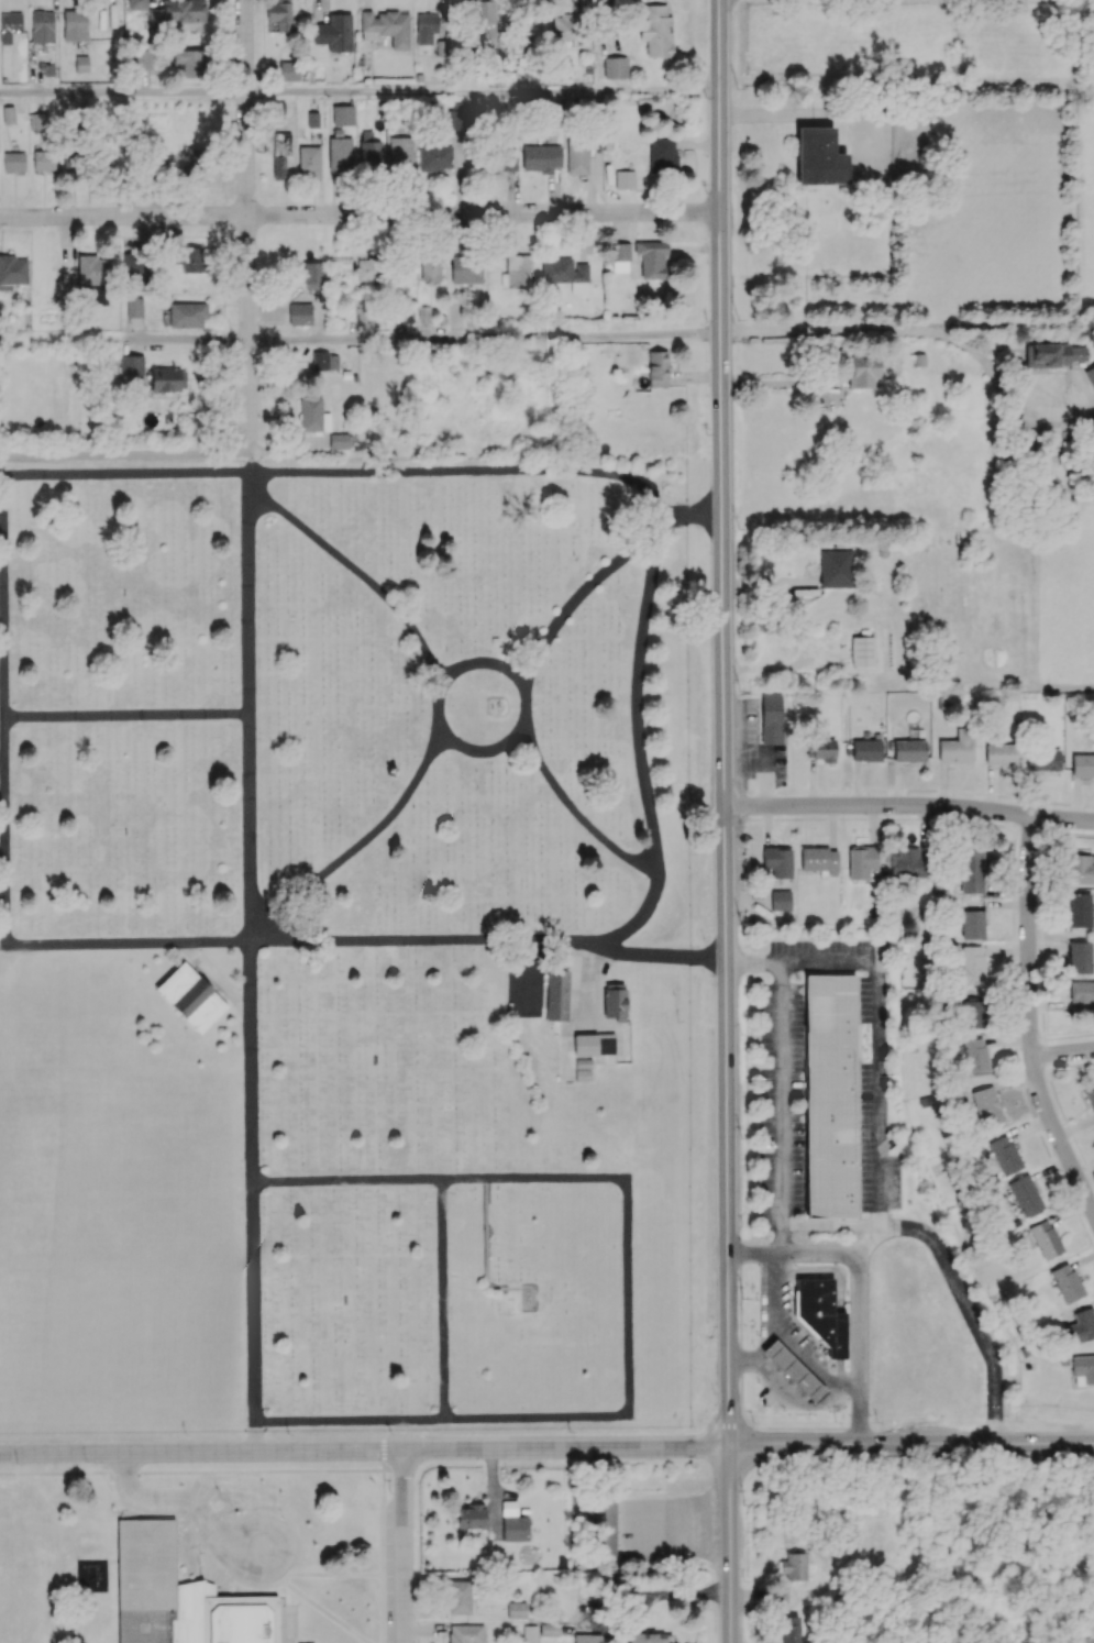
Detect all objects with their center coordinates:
building: (136, 4)
building: (177, 12)
building: (280, 14)
building: (485, 18)
building: (9, 25)
building: (75, 25)
building: (42, 26)
building: (386, 26)
building: (427, 26)
building: (566, 26)
building: (655, 30)
building: (334, 32)
building: (142, 60)
building: (188, 63)
building: (81, 64)
building: (615, 67)
building: (47, 69)
building: (288, 70)
building: (469, 80)
road: (358, 91)
building: (342, 114)
road: (826, 115)
building: (457, 117)
building: (37, 121)
building: (368, 152)
building: (583, 155)
building: (400, 156)
building: (434, 156)
building: (340, 157)
building: (818, 157)
building: (541, 158)
building: (499, 159)
building: (13, 161)
building: (44, 161)
building: (70, 162)
building: (309, 162)
building: (278, 163)
building: (194, 165)
building: (649, 166)
road: (360, 214)
road: (245, 227)
building: (619, 256)
building: (651, 258)
building: (188, 260)
building: (430, 267)
building: (366, 269)
building: (466, 269)
building: (134, 271)
building: (12, 272)
building: (517, 272)
building: (565, 273)
building: (312, 275)
building: (93, 277)
building: (133, 307)
building: (364, 312)
building: (299, 313)
building: (186, 315)
building: (452, 316)
road: (910, 334)
road: (484, 340)
road: (123, 341)
building: (1053, 354)
building: (324, 361)
building: (131, 366)
building: (656, 368)
building: (862, 373)
building: (1090, 375)
building: (168, 378)
building: (312, 415)
building: (340, 441)
road: (124, 454)
road: (123, 475)
road: (466, 475)
road: (696, 516)
building: (836, 569)
road: (358, 577)
building: (495, 641)
building: (862, 651)
road: (526, 696)
building: (495, 706)
road: (247, 710)
road: (437, 713)
building: (771, 718)
road: (125, 719)
road: (725, 721)
road: (640, 740)
building: (955, 747)
building: (821, 749)
building: (865, 750)
building: (908, 750)
building: (1001, 754)
building: (1042, 759)
building: (1082, 764)
road: (909, 807)
road: (354, 851)
building: (819, 860)
building: (777, 861)
building: (861, 862)
building: (907, 862)
building: (1081, 869)
building: (970, 870)
road: (4, 874)
building: (780, 900)
building: (1079, 909)
building: (971, 924)
road: (429, 945)
park: (343, 949)
road: (664, 957)
building: (1079, 957)
building: (972, 964)
building: (1081, 991)
building: (559, 995)
building: (191, 999)
building: (618, 1000)
building: (972, 1013)
road: (1031, 1016)
building: (596, 1045)
road: (1062, 1052)
building: (974, 1056)
building: (584, 1066)
building: (584, 1077)
building: (829, 1095)
building: (1091, 1100)
building: (985, 1105)
road: (781, 1106)
road: (877, 1155)
building: (1004, 1155)
building: (1024, 1194)
road: (253, 1197)
road: (829, 1225)
building: (1045, 1239)
road: (869, 1240)
building: (1065, 1282)
road: (860, 1283)
road: (628, 1299)
road: (443, 1302)
road: (773, 1311)
building: (820, 1314)
building: (1080, 1326)
building: (1083, 1367)
building: (793, 1371)
road: (789, 1388)
road: (911, 1443)
road: (365, 1448)
road: (168, 1499)
building: (471, 1517)
building: (606, 1525)
building: (515, 1529)
road: (730, 1544)
road: (402, 1546)
park: (30, 1558)
building: (147, 1558)
road: (277, 1564)
building: (794, 1566)
building: (777, 1596)
building: (457, 1597)
building: (516, 1610)
road: (292, 1625)
building: (549, 1629)
building: (789, 1629)
building: (465, 1633)
building: (529, 1634)
building: (99, 1635)
building: (588, 1638)
building: (649, 1638)

